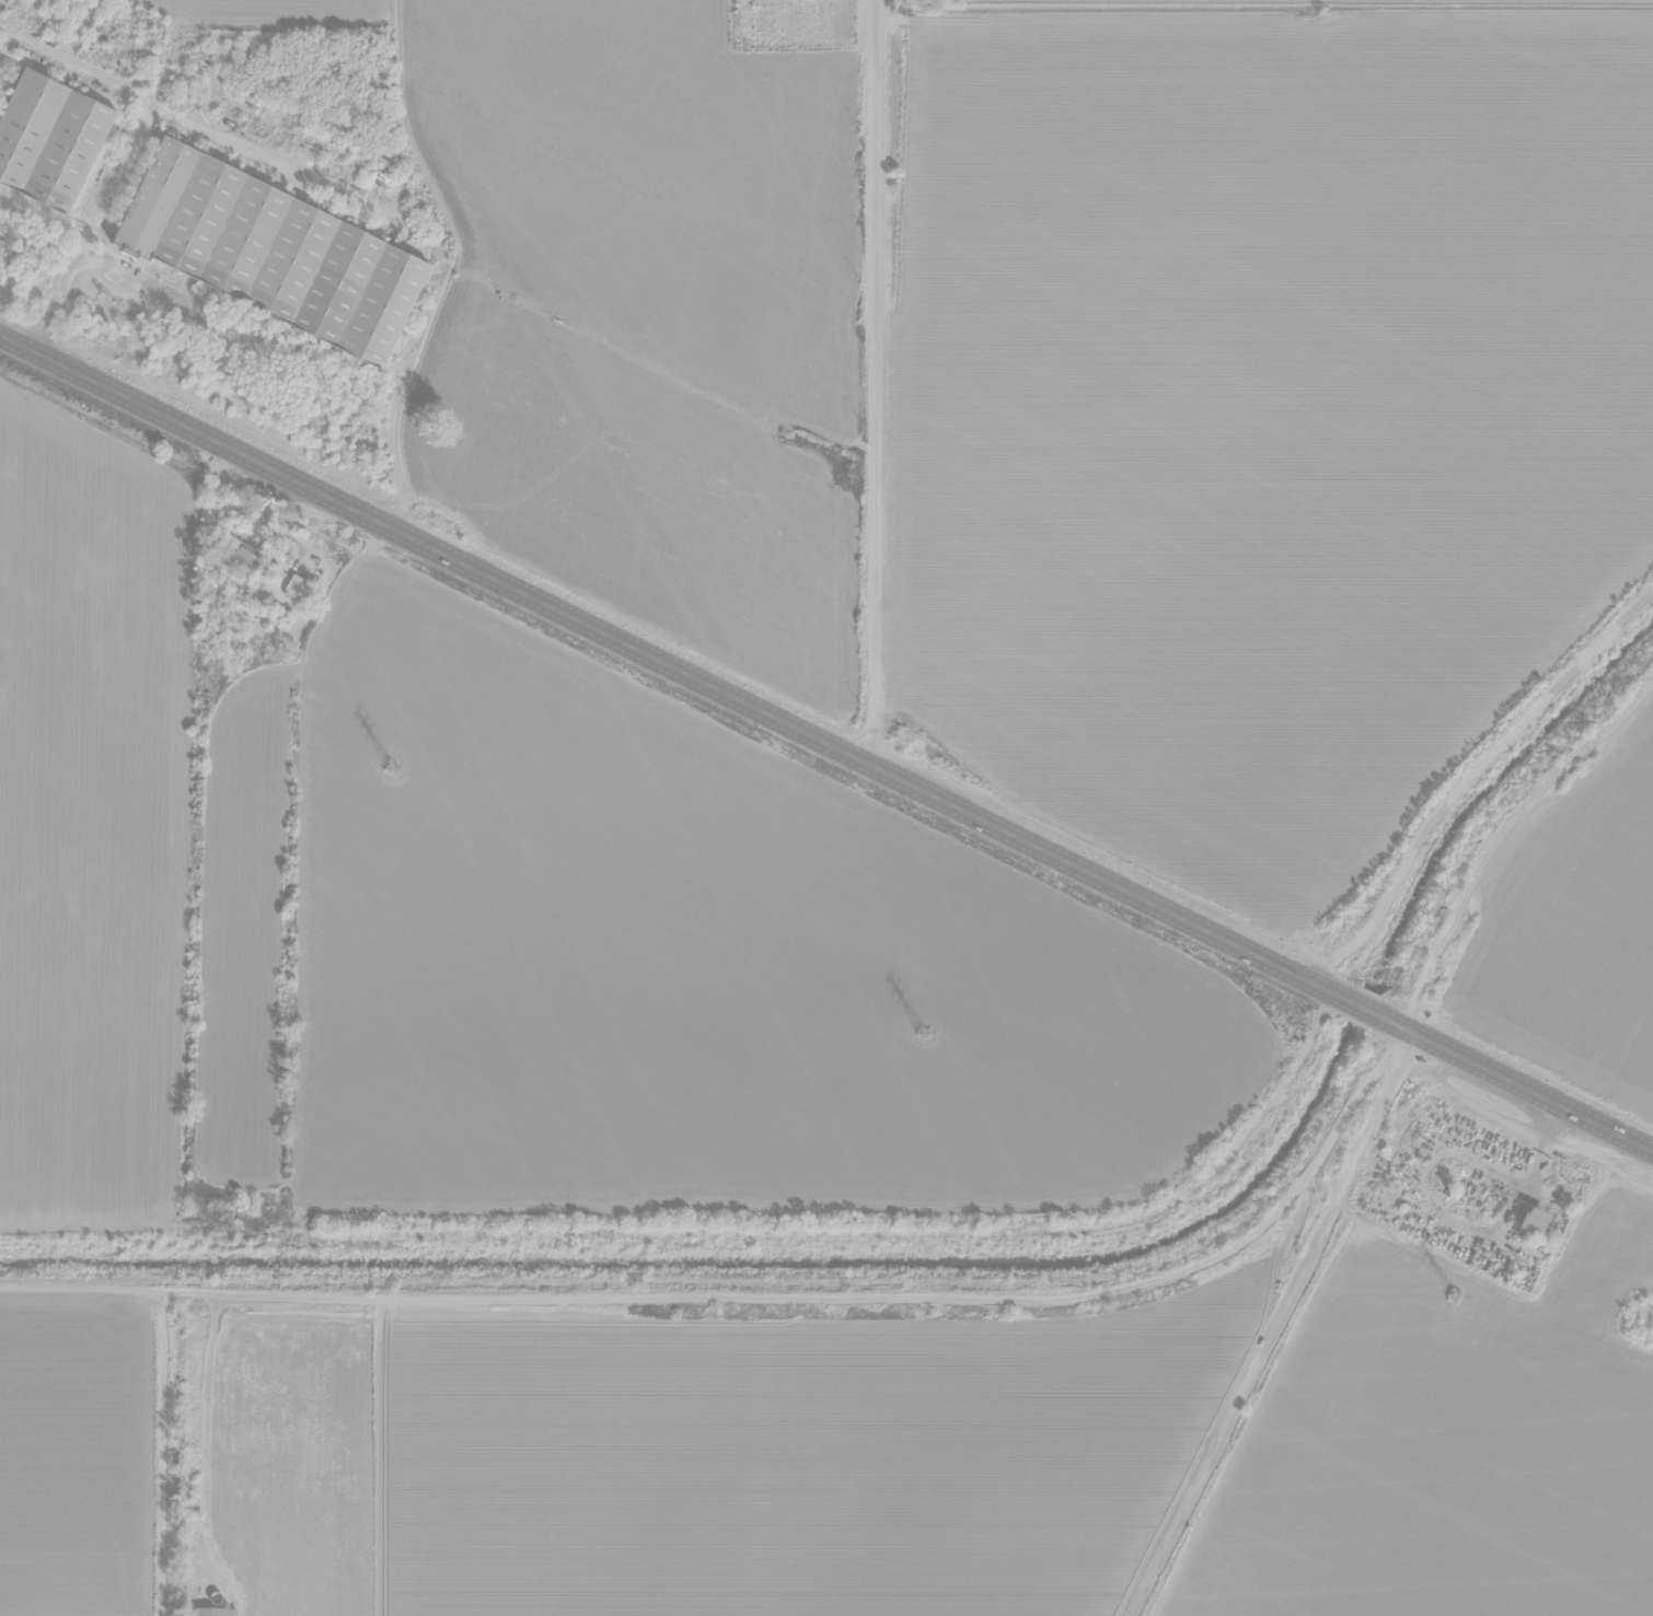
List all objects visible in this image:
road: (874, 384)
road: (825, 744)
power tower: (391, 768)
power tower: (921, 1032)
power tower: (1453, 1295)

